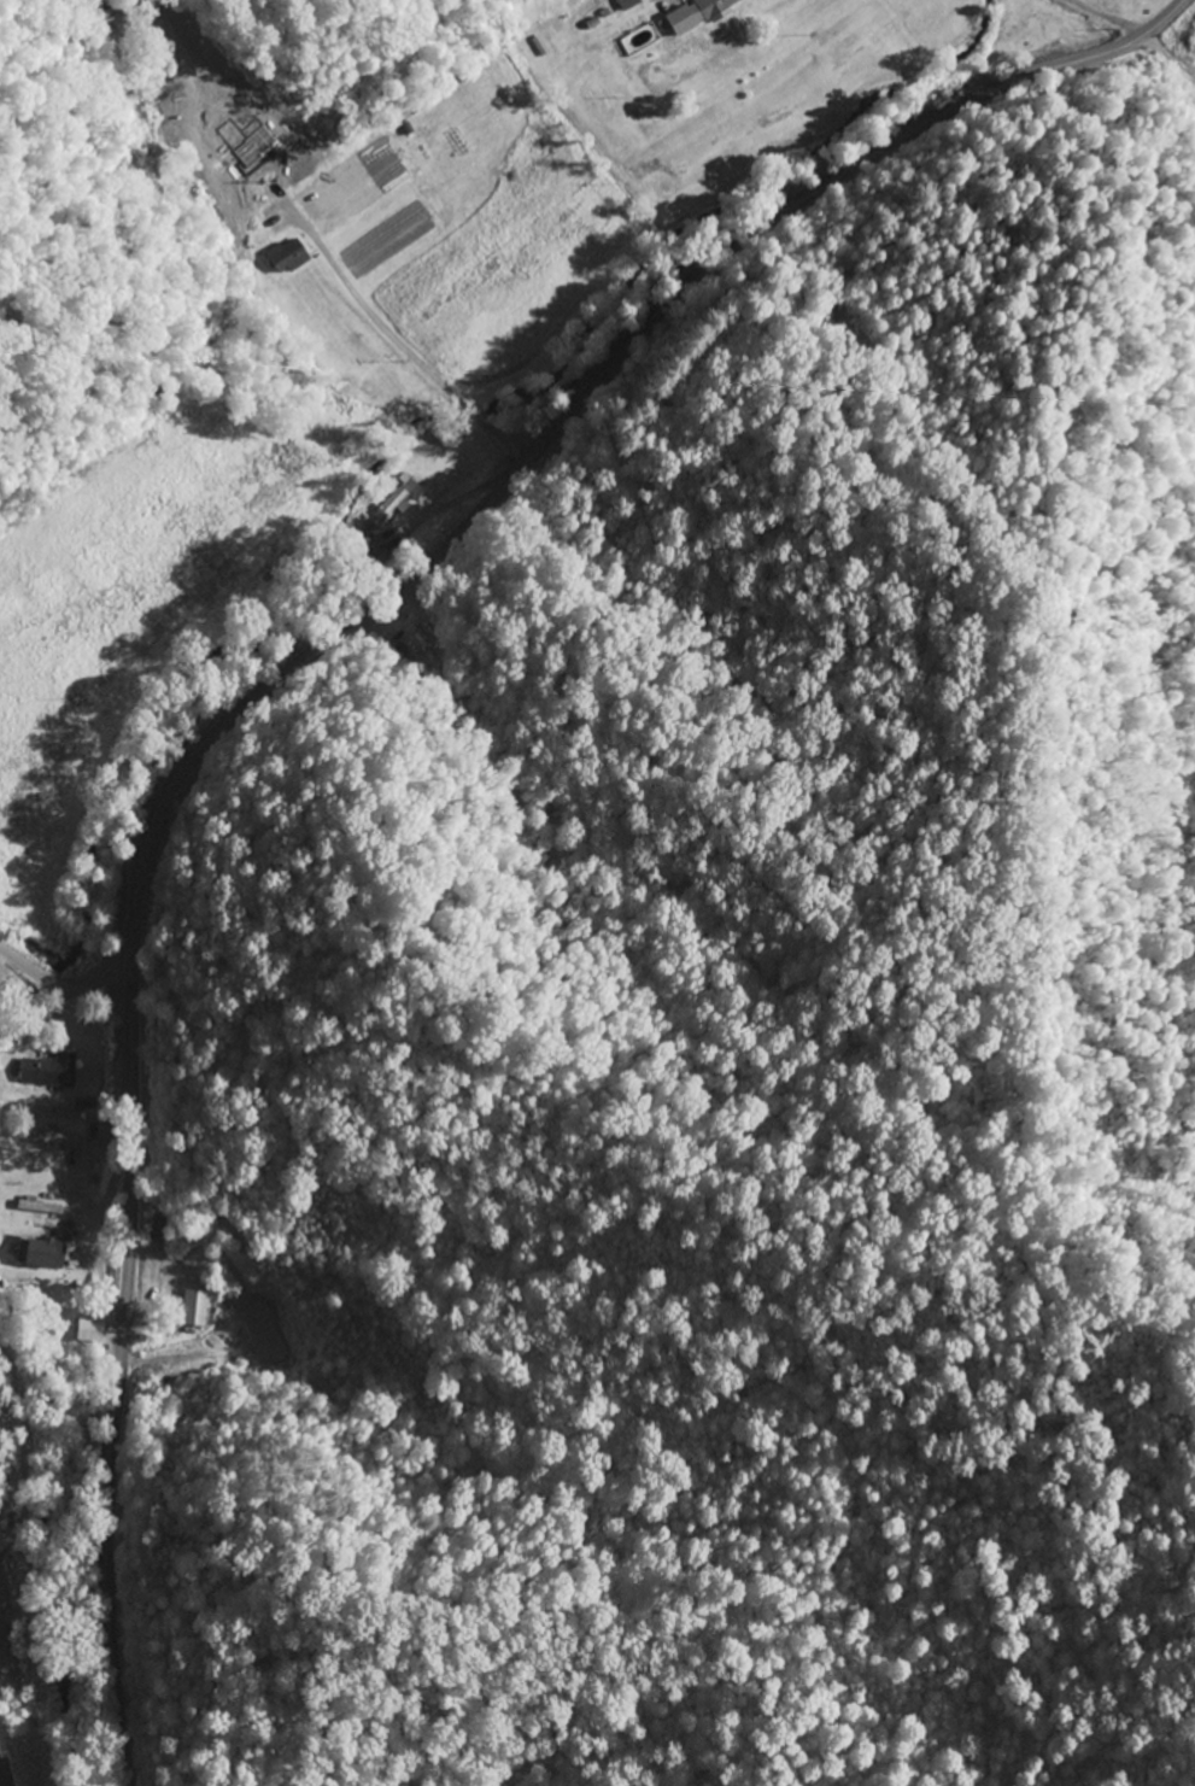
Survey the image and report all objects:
building: (631, 4)
building: (716, 7)
road: (804, 88)
building: (289, 257)
road: (445, 387)
building: (392, 502)
road: (280, 684)
road: (63, 984)
building: (48, 1070)
road: (87, 1084)
road: (77, 1087)
road: (96, 1091)
building: (59, 1141)
building: (40, 1208)
building: (43, 1253)
building: (193, 1310)
building: (263, 1324)
building: (88, 1330)

